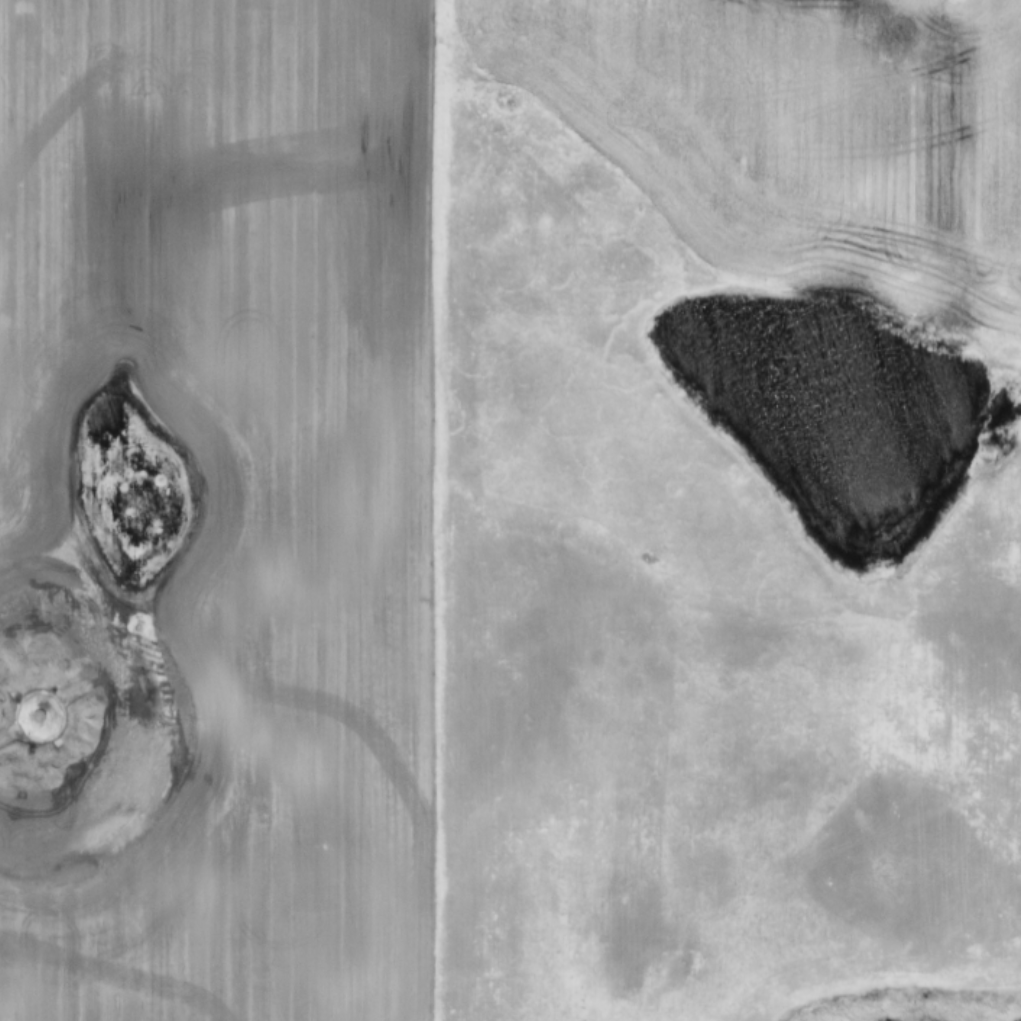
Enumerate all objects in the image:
wind turbine: (41, 713)

